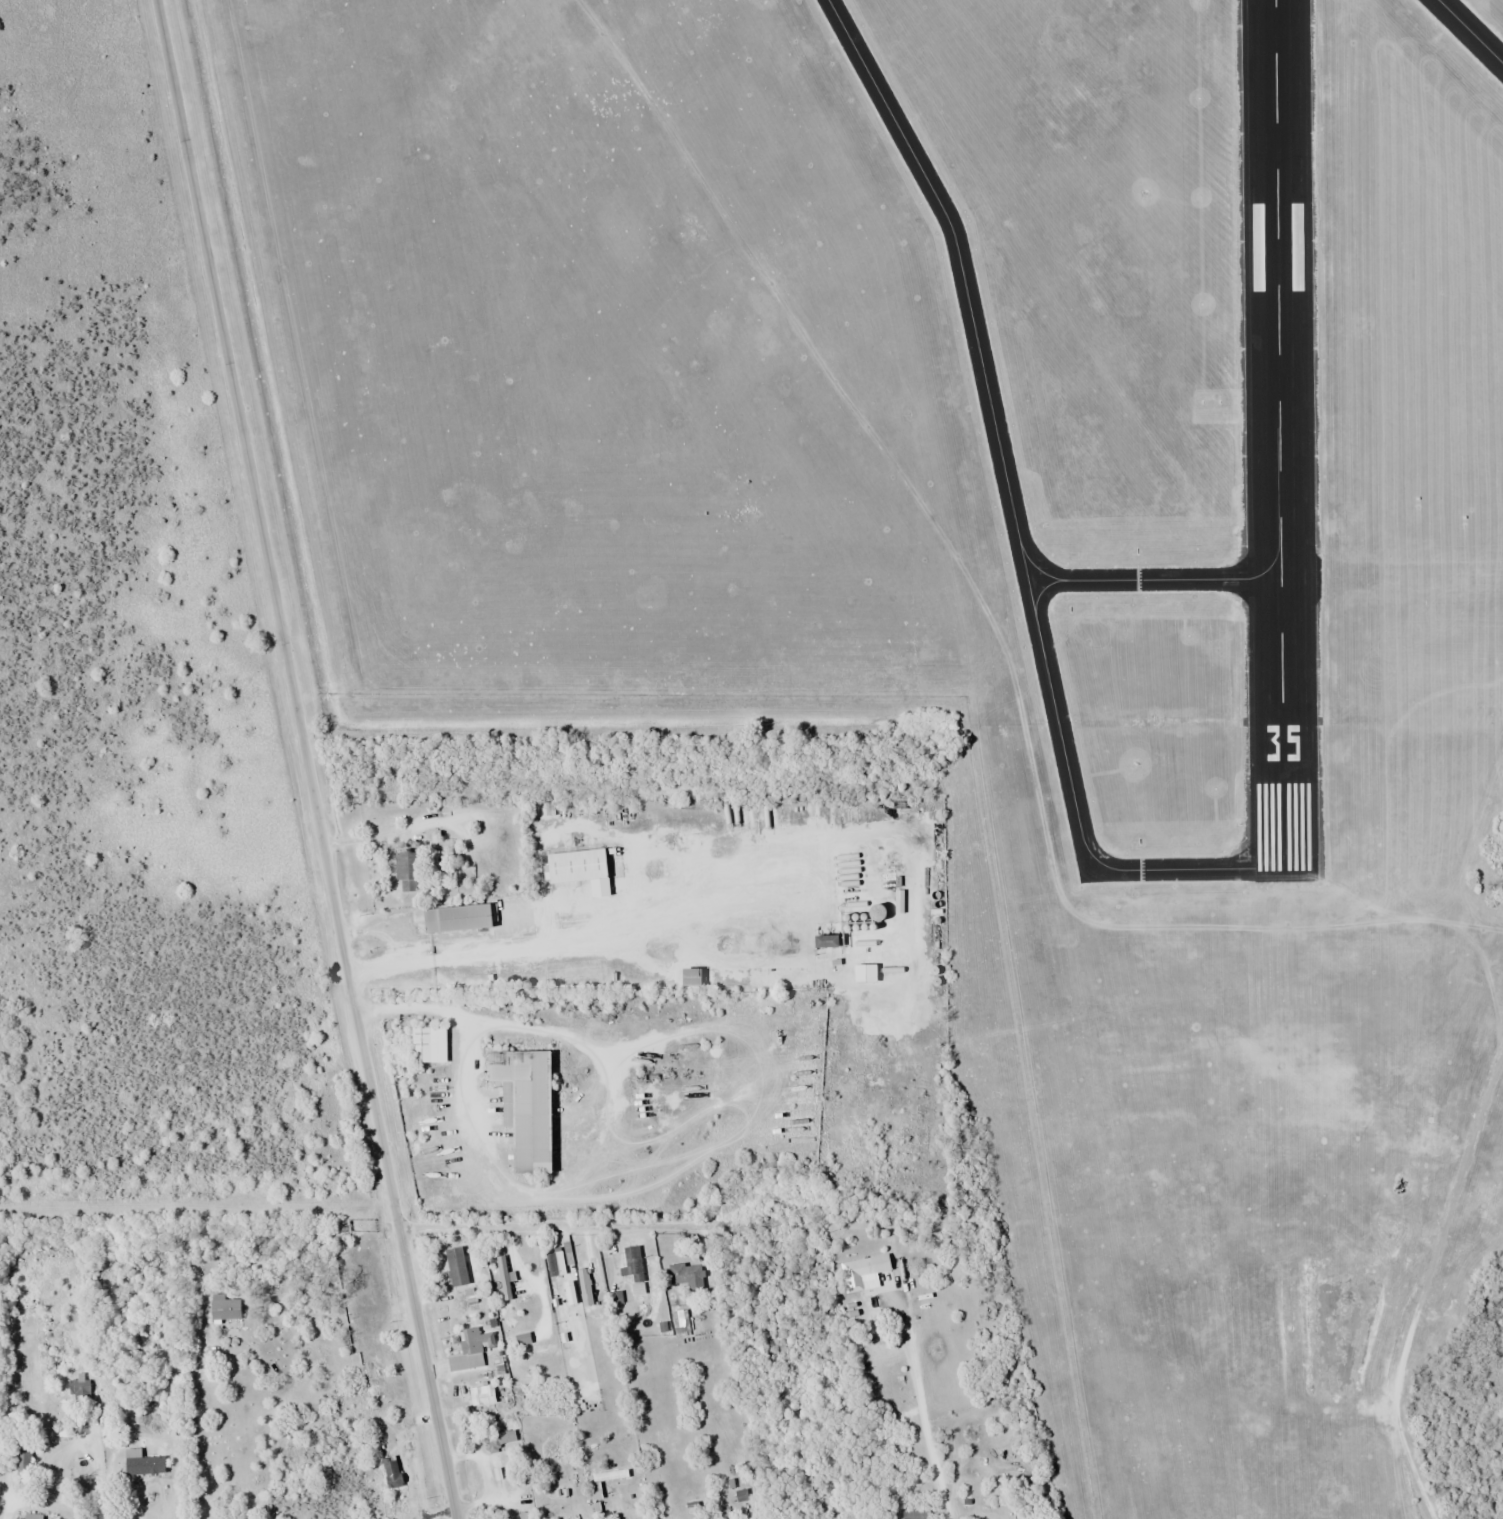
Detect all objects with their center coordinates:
airport taxiway: (1467, 34)
airport runway: (1282, 435)
airport taxiway: (1012, 517)
airport taxiway: (1155, 579)
airport: (997, 586)
road: (306, 759)
building: (845, 810)
building: (583, 867)
building: (408, 870)
building: (456, 917)
building: (822, 940)
building: (687, 976)
building: (773, 977)
building: (427, 1044)
building: (522, 1105)
road: (546, 1226)
building: (553, 1261)
building: (632, 1263)
building: (861, 1270)
building: (579, 1273)
building: (685, 1273)
building: (461, 1275)
building: (504, 1277)
road: (1423, 1287)
building: (223, 1308)
building: (520, 1332)
building: (470, 1347)
building: (78, 1390)
building: (481, 1394)
building: (498, 1439)
building: (141, 1462)
building: (525, 1515)

